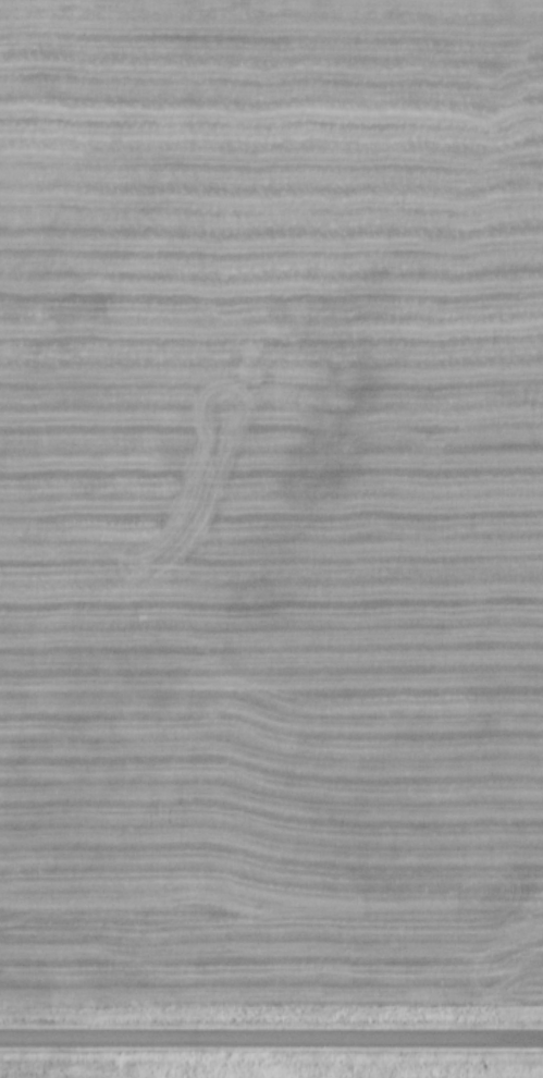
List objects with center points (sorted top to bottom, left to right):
road: (271, 1036)

